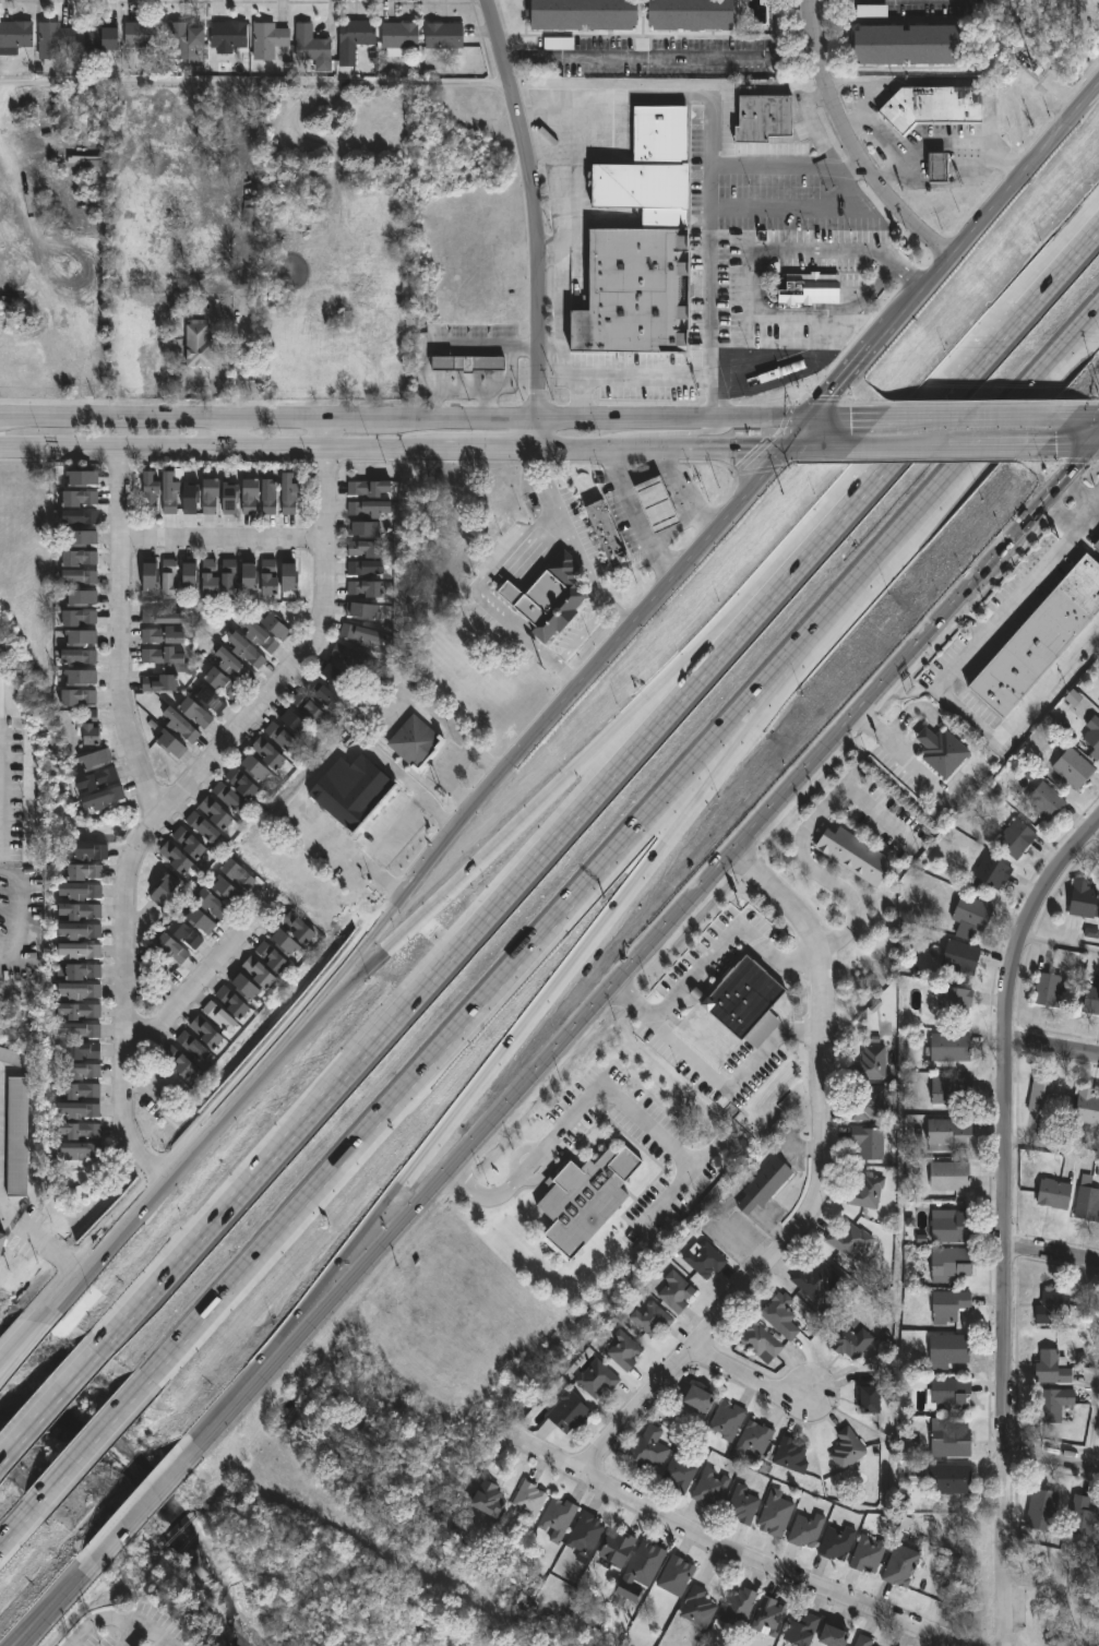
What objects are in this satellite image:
building: (583, 14)
building: (690, 14)
building: (141, 34)
building: (14, 36)
building: (227, 36)
building: (398, 36)
building: (442, 36)
building: (52, 37)
building: (99, 37)
building: (353, 38)
building: (181, 39)
building: (267, 39)
building: (907, 44)
building: (309, 46)
road: (660, 57)
road: (254, 82)
road: (577, 95)
building: (935, 107)
building: (764, 117)
road: (812, 118)
road: (538, 129)
road: (873, 132)
road: (947, 142)
road: (849, 146)
road: (785, 162)
building: (937, 168)
building: (649, 170)
road: (813, 206)
building: (247, 213)
road: (987, 219)
road: (535, 220)
road: (783, 249)
road: (548, 252)
road: (1068, 263)
building: (634, 290)
building: (809, 290)
road: (819, 337)
road: (471, 338)
building: (196, 345)
road: (526, 345)
building: (466, 362)
road: (840, 381)
road: (462, 383)
road: (958, 389)
road: (582, 393)
road: (1075, 413)
road: (404, 415)
road: (960, 415)
traffic signals: (808, 416)
road: (838, 416)
road: (228, 431)
road: (793, 432)
road: (666, 434)
road: (1097, 444)
road: (1097, 445)
road: (1064, 446)
traffic signals: (1096, 446)
road: (390, 448)
road: (990, 448)
traffic signals: (779, 450)
road: (812, 450)
road: (897, 450)
road: (648, 473)
road: (953, 477)
building: (82, 479)
building: (368, 489)
building: (150, 491)
building: (169, 492)
building: (190, 493)
building: (289, 493)
road: (1049, 494)
building: (210, 496)
building: (250, 497)
building: (267, 497)
building: (229, 498)
road: (1078, 498)
building: (79, 499)
road: (686, 501)
building: (656, 504)
gas station: (656, 504)
building: (368, 509)
road: (635, 516)
building: (80, 517)
building: (363, 529)
building: (607, 533)
road: (673, 533)
building: (83, 538)
road: (225, 545)
road: (574, 545)
building: (1096, 545)
building: (366, 549)
road: (538, 553)
building: (79, 559)
building: (365, 568)
building: (150, 575)
building: (168, 575)
building: (189, 575)
building: (217, 575)
building: (288, 575)
building: (80, 576)
building: (248, 576)
building: (268, 576)
building: (366, 589)
road: (1023, 589)
road: (507, 592)
building: (548, 597)
building: (82, 598)
building: (362, 611)
building: (163, 617)
building: (77, 618)
building: (274, 628)
road: (121, 635)
road: (581, 635)
building: (163, 636)
building: (360, 636)
building: (1040, 636)
building: (258, 637)
building: (80, 639)
road: (531, 644)
building: (244, 652)
building: (162, 657)
building: (347, 657)
building: (77, 658)
building: (231, 666)
building: (334, 676)
building: (79, 678)
building: (158, 684)
building: (220, 685)
building: (320, 693)
building: (77, 697)
building: (208, 701)
building: (306, 708)
building: (194, 714)
building: (292, 723)
building: (181, 726)
road: (1000, 726)
building: (89, 728)
road: (540, 733)
building: (1090, 736)
building: (280, 738)
building: (411, 740)
building: (171, 746)
building: (941, 750)
road: (593, 752)
road: (900, 752)
building: (267, 753)
building: (96, 760)
road: (456, 761)
building: (1072, 767)
building: (254, 768)
road: (314, 774)
building: (240, 783)
road: (188, 788)
building: (353, 794)
building: (227, 797)
building: (104, 798)
building: (1043, 800)
building: (214, 813)
building: (202, 826)
road: (1098, 831)
road: (389, 832)
building: (1015, 837)
road: (799, 840)
building: (189, 843)
building: (85, 855)
building: (852, 855)
building: (176, 858)
building: (991, 871)
building: (84, 874)
building: (232, 882)
building: (163, 891)
building: (80, 894)
building: (1082, 898)
building: (211, 904)
building: (971, 913)
building: (79, 914)
building: (199, 919)
road: (487, 920)
building: (297, 928)
building: (79, 934)
building: (183, 934)
building: (284, 943)
road: (1059, 944)
building: (169, 951)
building: (79, 953)
road: (706, 953)
building: (959, 956)
building: (270, 957)
building: (1066, 961)
road: (565, 971)
building: (258, 973)
building: (83, 975)
road: (198, 988)
building: (244, 988)
building: (1047, 989)
building: (79, 993)
road: (606, 993)
building: (742, 997)
building: (955, 1000)
building: (1091, 1000)
building: (231, 1003)
building: (80, 1011)
road: (477, 1014)
building: (218, 1017)
building: (79, 1030)
building: (204, 1034)
building: (949, 1046)
building: (192, 1048)
building: (81, 1051)
road: (1054, 1051)
building: (11, 1057)
building: (871, 1062)
building: (178, 1063)
building: (80, 1071)
building: (948, 1087)
road: (728, 1089)
building: (80, 1090)
building: (1044, 1092)
building: (869, 1104)
building: (1087, 1107)
building: (79, 1111)
road: (569, 1121)
building: (80, 1131)
building: (948, 1132)
building: (16, 1137)
building: (868, 1142)
road: (1054, 1147)
building: (79, 1150)
road: (172, 1161)
road: (1010, 1172)
building: (948, 1174)
building: (762, 1185)
building: (863, 1189)
building: (1053, 1192)
road: (819, 1193)
building: (584, 1198)
building: (1087, 1200)
building: (948, 1225)
building: (848, 1238)
road: (43, 1241)
building: (1, 1242)
building: (704, 1259)
road: (1054, 1259)
building: (951, 1263)
building: (815, 1279)
building: (673, 1291)
building: (1098, 1303)
building: (948, 1305)
building: (1052, 1307)
building: (779, 1315)
building: (650, 1319)
road: (25, 1336)
building: (758, 1341)
building: (856, 1343)
road: (25, 1344)
building: (622, 1349)
building: (947, 1349)
building: (1050, 1368)
building: (596, 1380)
road: (748, 1383)
building: (948, 1393)
building: (697, 1398)
building: (869, 1399)
building: (1055, 1403)
road: (48, 1411)
building: (568, 1412)
building: (726, 1420)
road: (1090, 1433)
building: (755, 1440)
building: (951, 1442)
road: (93, 1445)
building: (648, 1447)
building: (846, 1447)
building: (791, 1454)
road: (1053, 1464)
building: (679, 1471)
building: (949, 1478)
building: (710, 1487)
building: (487, 1496)
building: (527, 1501)
road: (159, 1502)
building: (741, 1503)
building: (1041, 1510)
building: (774, 1513)
building: (1082, 1516)
building: (556, 1517)
road: (19, 1522)
building: (805, 1529)
building: (585, 1532)
building: (836, 1541)
building: (617, 1547)
road: (726, 1549)
building: (868, 1553)
building: (643, 1564)
building: (899, 1565)
building: (676, 1575)
park: (177, 1584)
road: (79, 1589)
road: (1006, 1596)
park: (1059, 1600)
building: (698, 1606)
building: (738, 1608)
road: (130, 1612)
building: (768, 1617)
building: (800, 1630)
road: (130, 1631)
road: (37, 1633)
road: (38, 1633)
building: (833, 1636)
building: (863, 1641)

